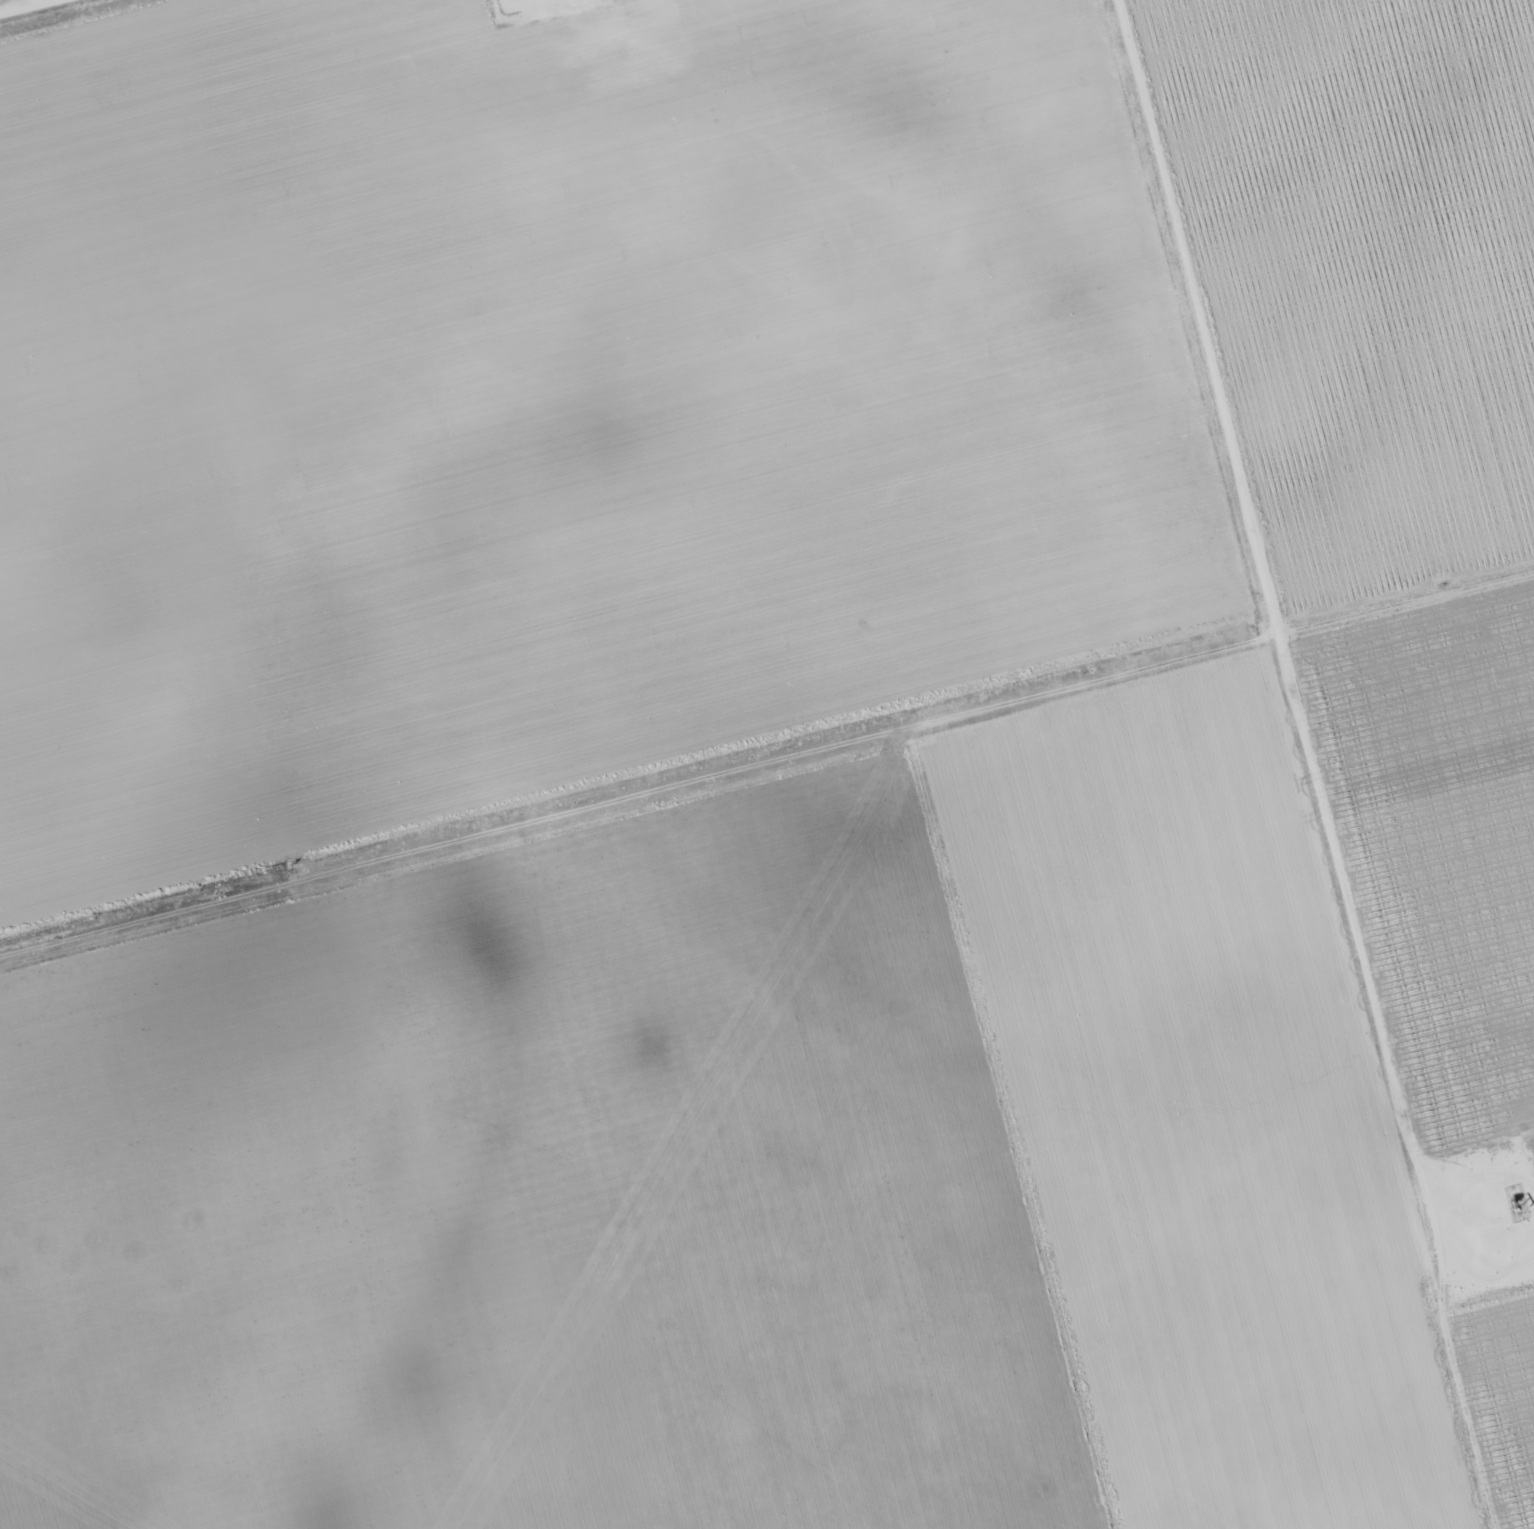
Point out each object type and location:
road: (1284, 644)

